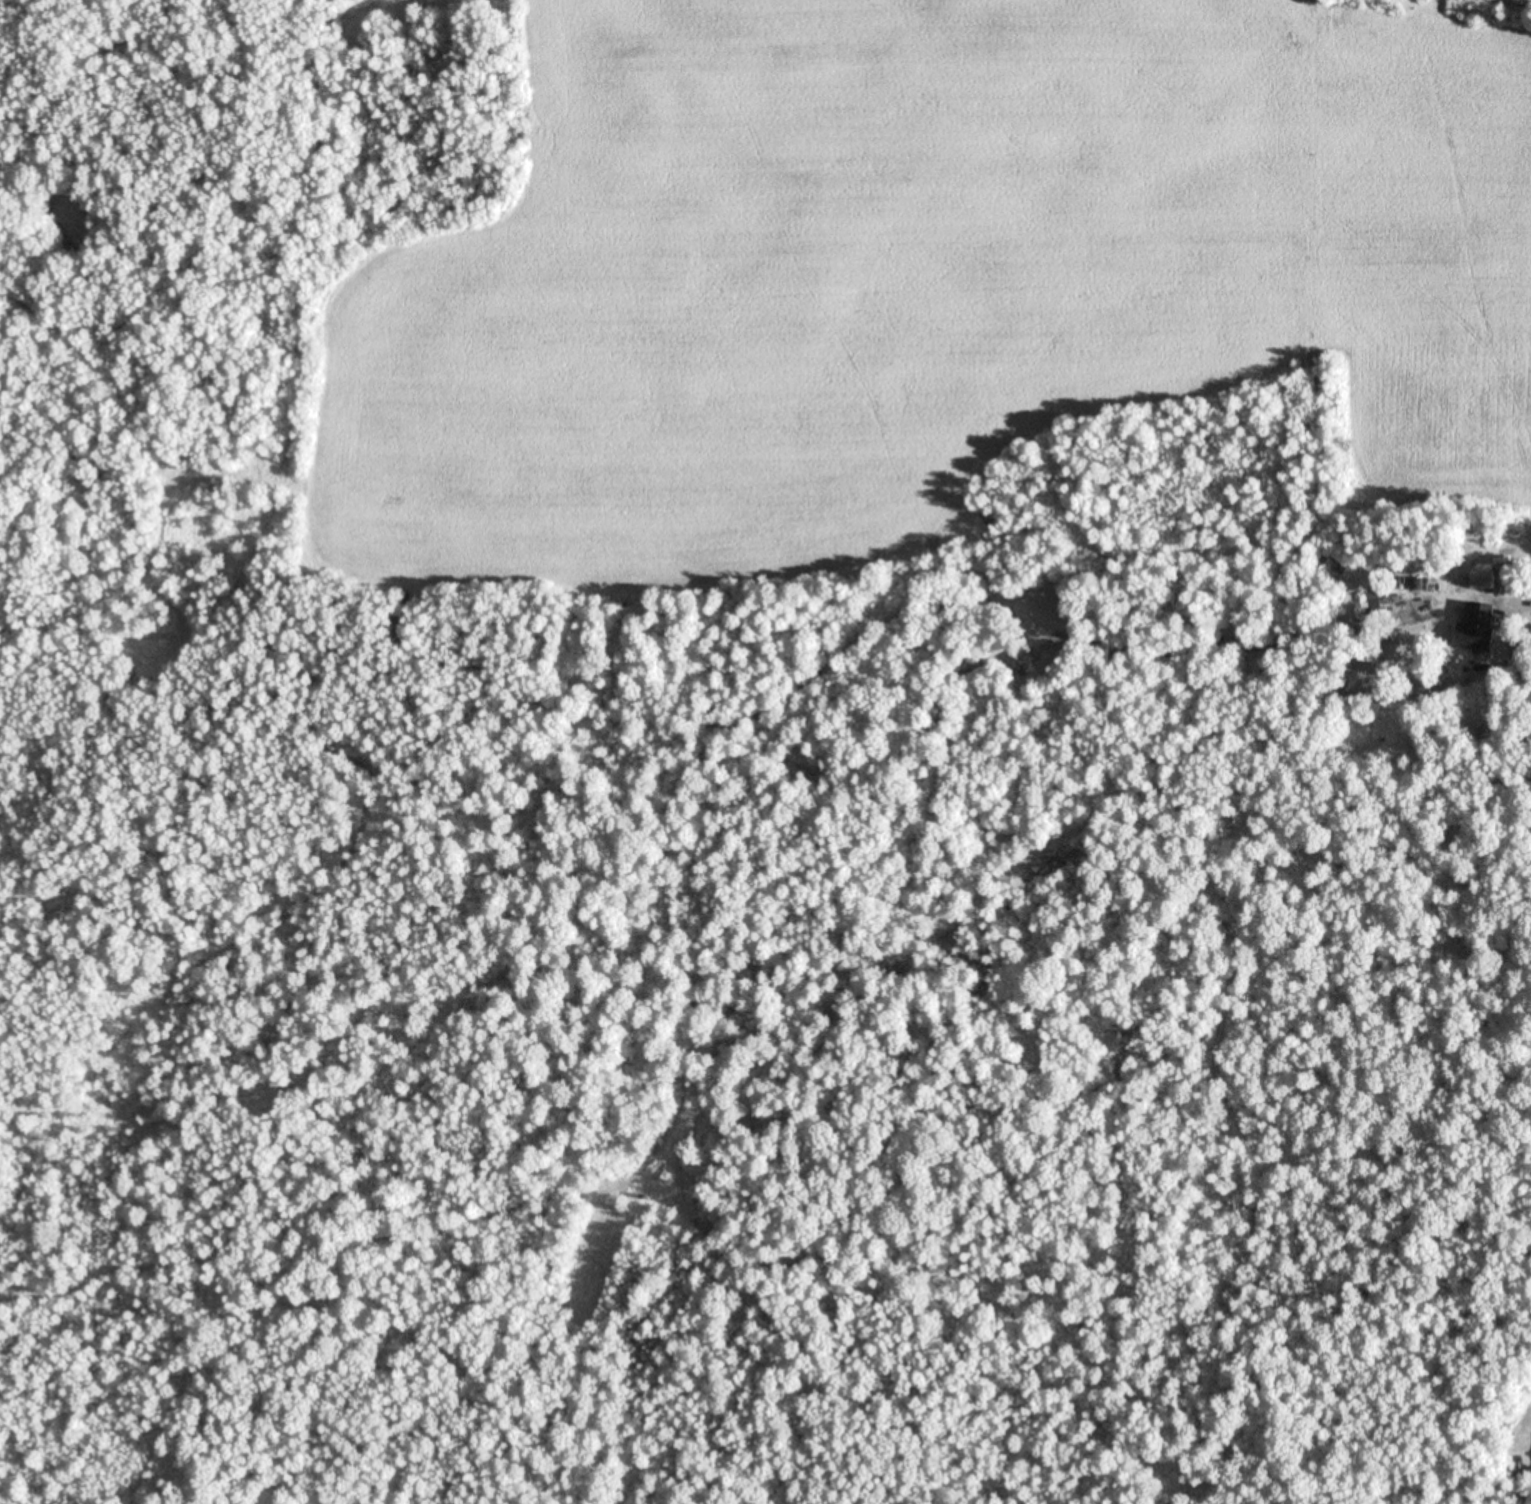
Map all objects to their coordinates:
building: (1376, 606)
building: (1483, 628)

